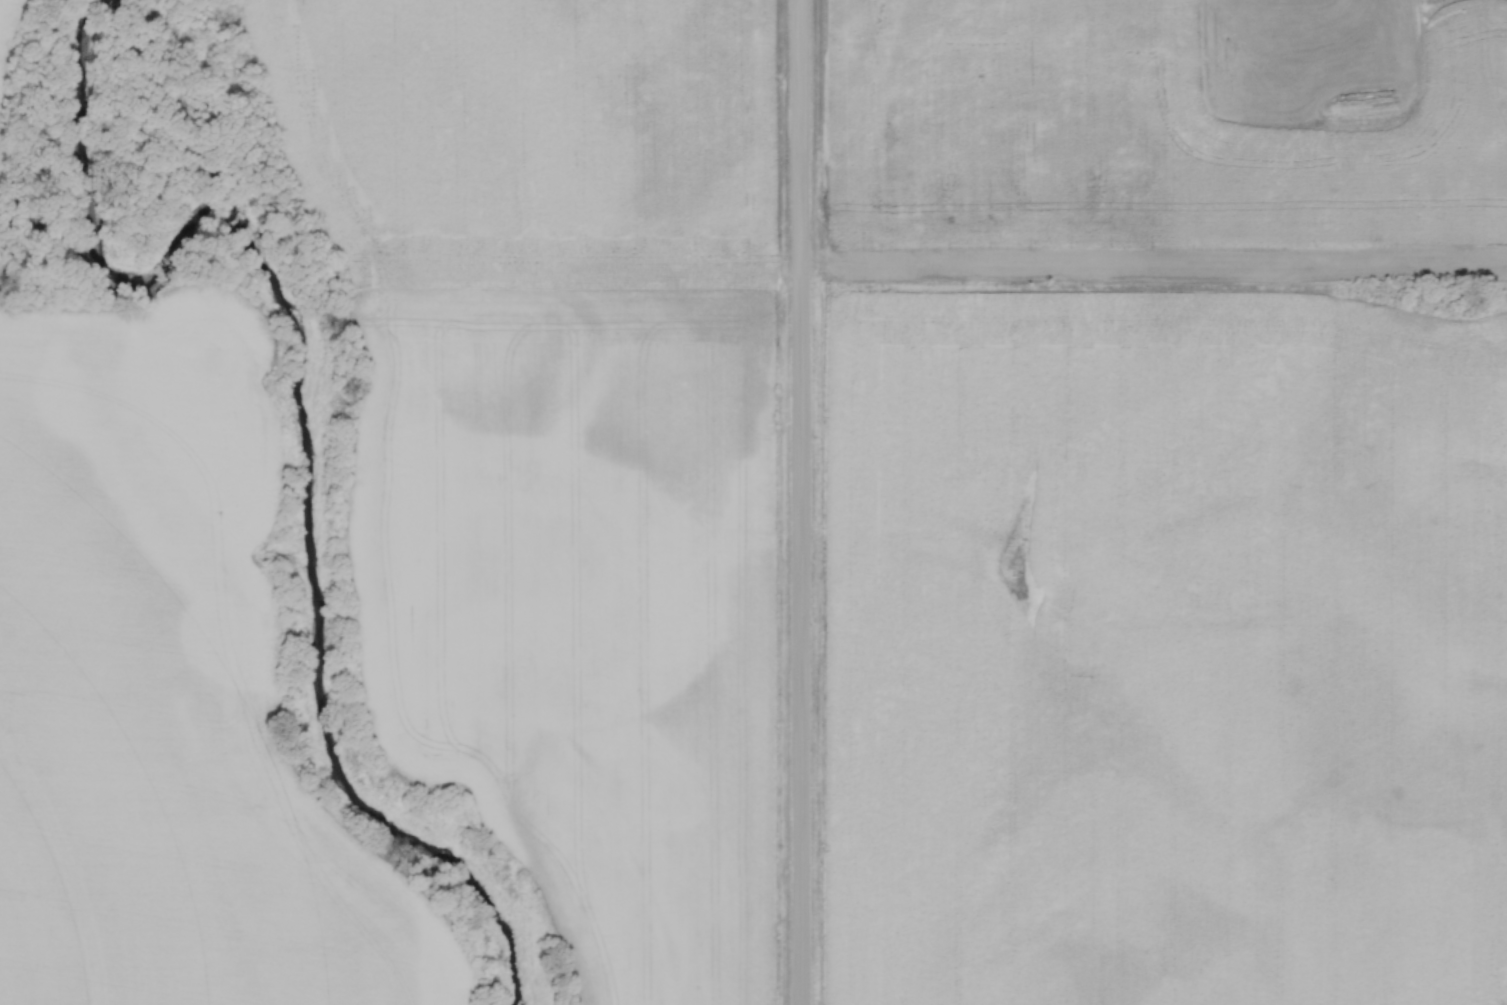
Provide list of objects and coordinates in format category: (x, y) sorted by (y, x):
river: (311, 432)
road: (801, 502)

